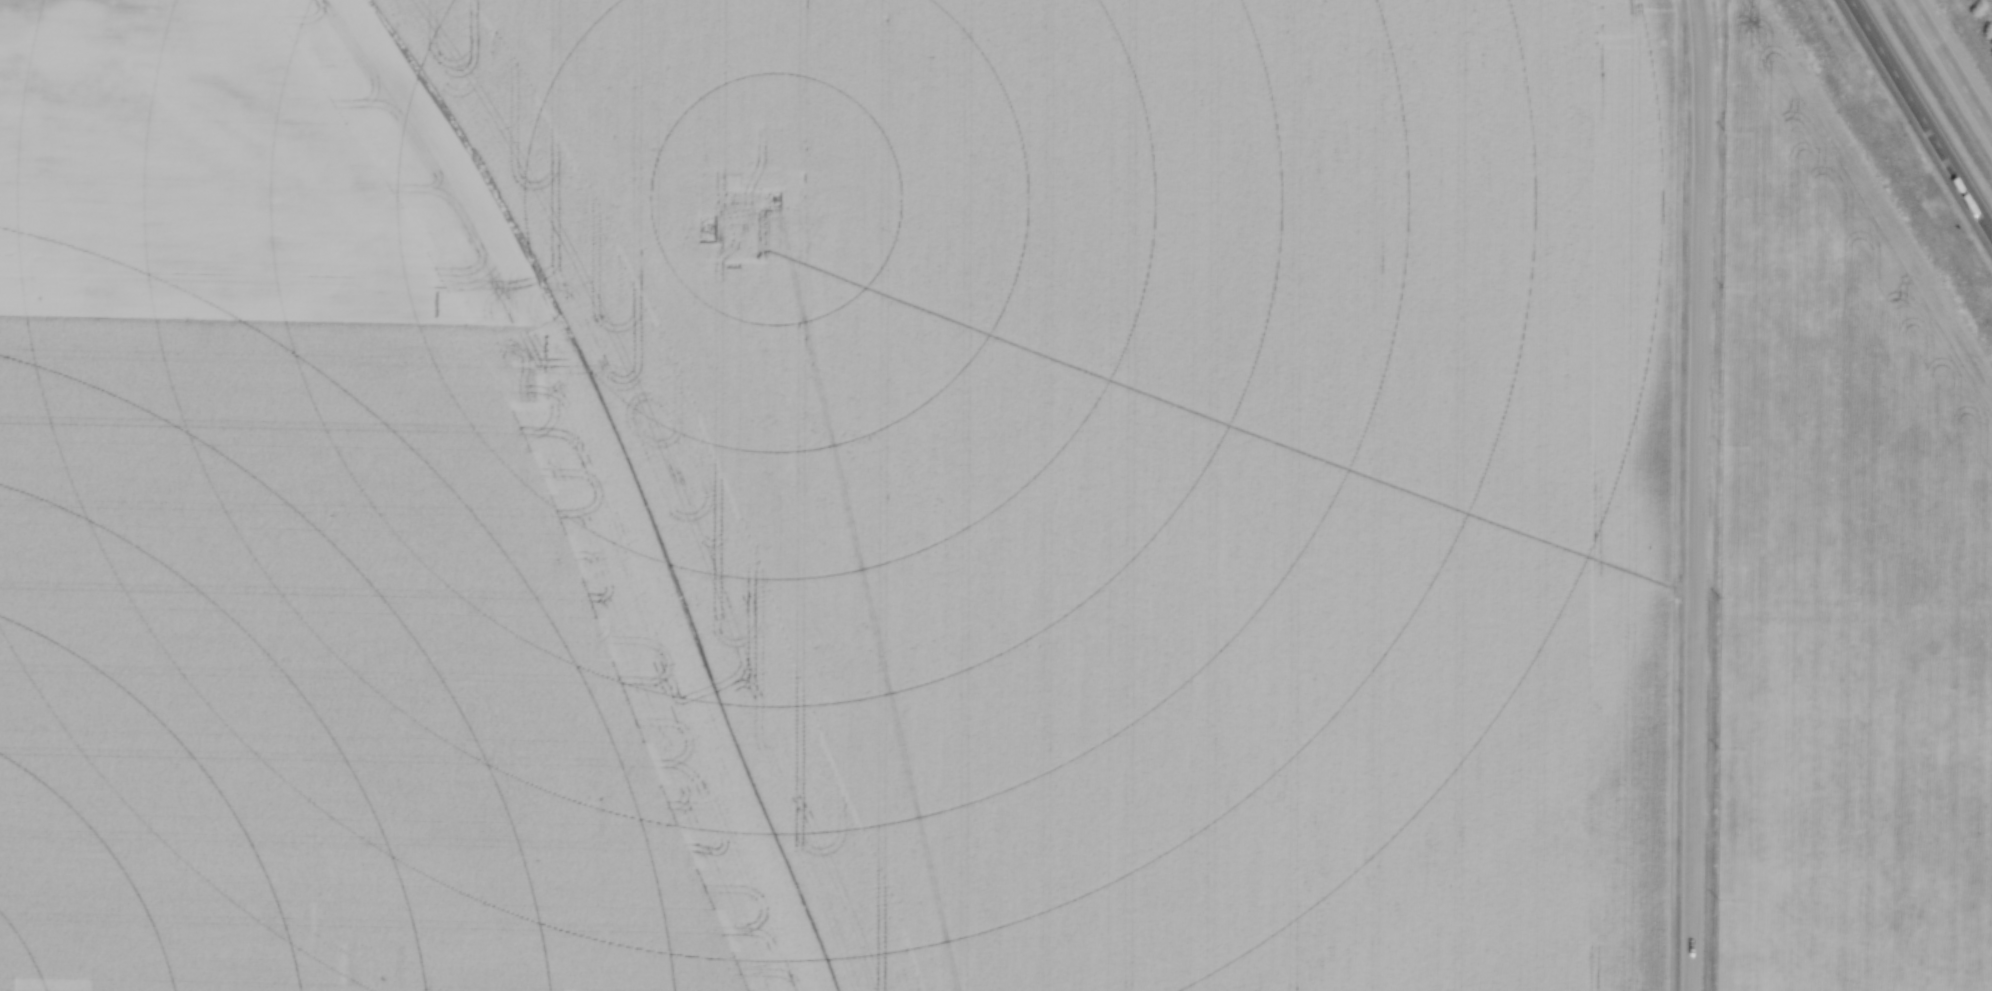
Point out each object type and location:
road: (1950, 67)
road: (1917, 122)
road: (1700, 495)

